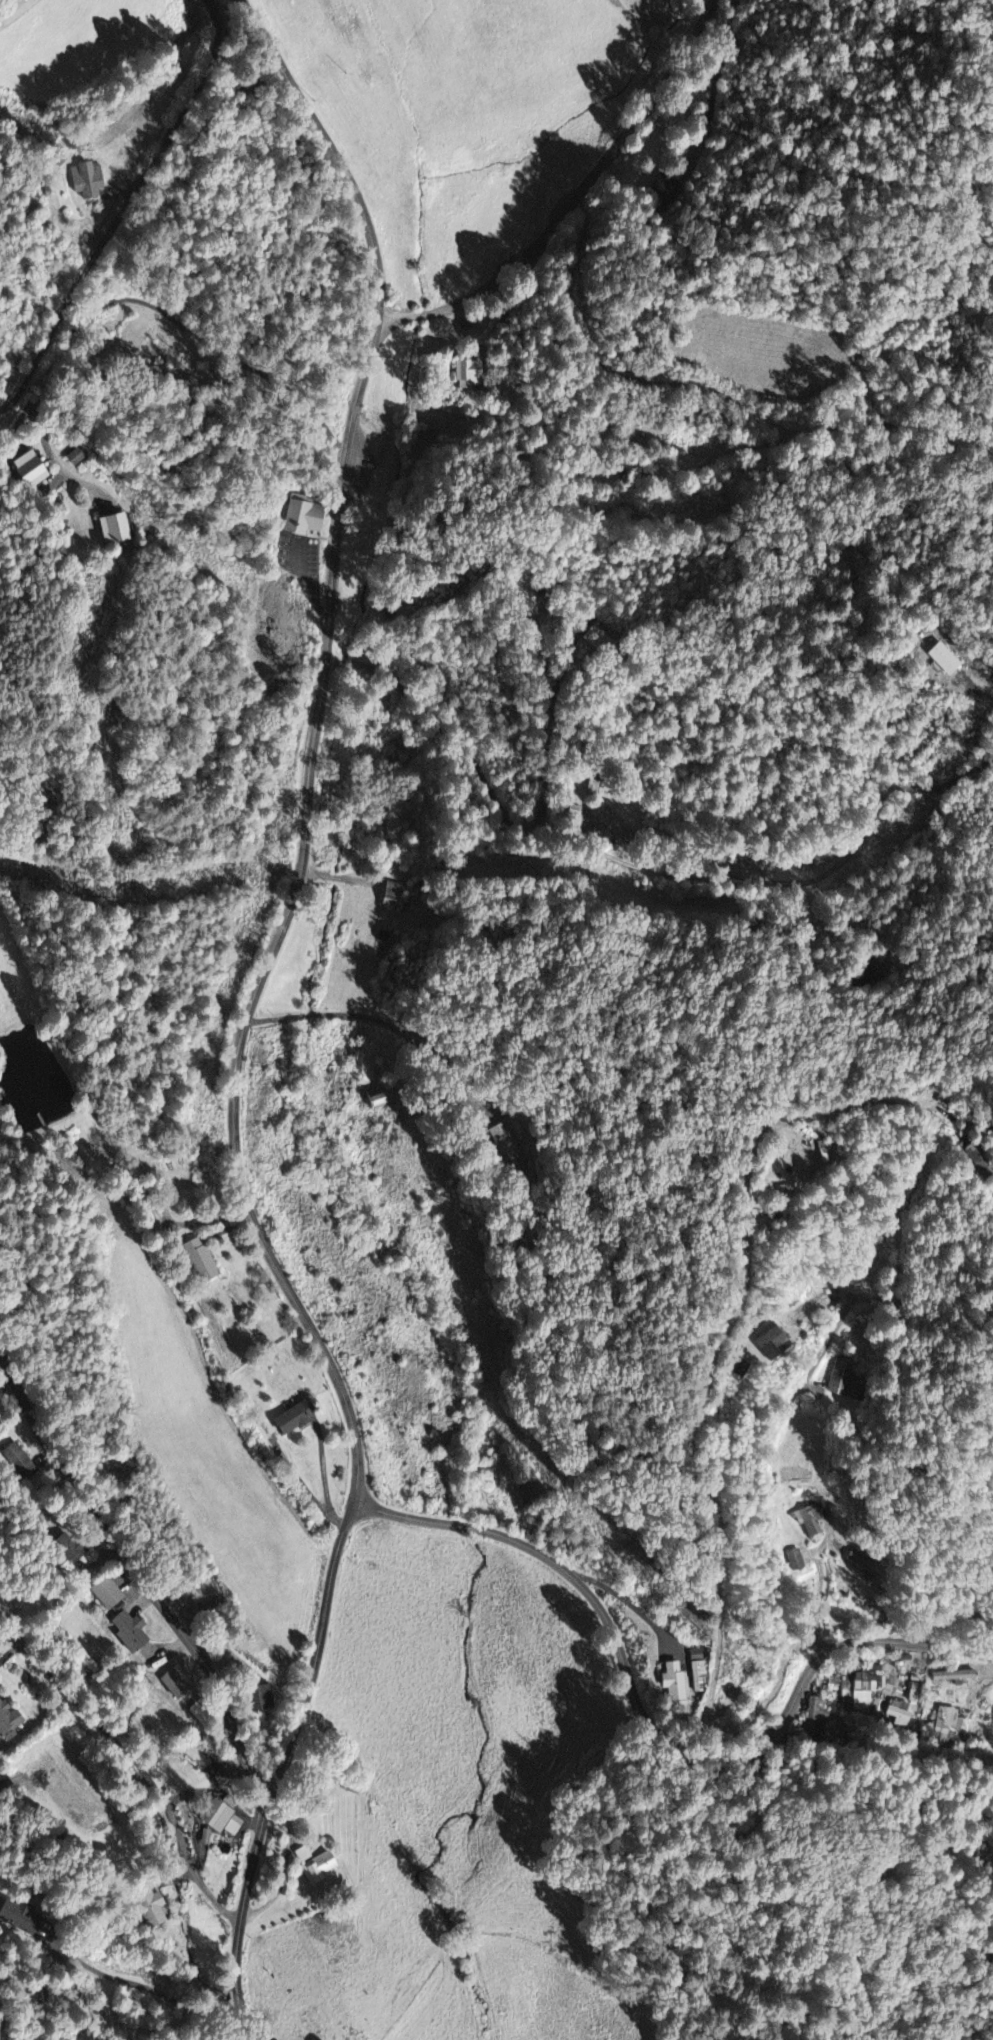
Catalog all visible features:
road: (331, 148)
road: (600, 167)
building: (90, 181)
building: (665, 194)
road: (125, 208)
road: (421, 316)
road: (382, 326)
building: (469, 376)
building: (79, 459)
building: (35, 471)
building: (303, 512)
building: (119, 531)
building: (596, 640)
building: (945, 661)
building: (616, 830)
building: (396, 898)
road: (283, 921)
road: (758, 1089)
building: (384, 1101)
building: (510, 1147)
building: (203, 1261)
road: (636, 1333)
building: (775, 1345)
building: (847, 1381)
building: (299, 1419)
road: (761, 1458)
building: (20, 1461)
road: (718, 1464)
building: (813, 1523)
building: (70, 1550)
building: (797, 1561)
road: (138, 1567)
building: (109, 1594)
building: (133, 1633)
building: (700, 1671)
building: (956, 1677)
building: (676, 1683)
building: (177, 1686)
building: (869, 1686)
building: (848, 1688)
building: (916, 1693)
building: (265, 1700)
building: (201, 1715)
building: (900, 1715)
building: (817, 1716)
building: (10, 1723)
road: (653, 1725)
building: (952, 1726)
road: (279, 1771)
building: (220, 1818)
building: (319, 1866)
building: (154, 1908)
building: (21, 1917)

